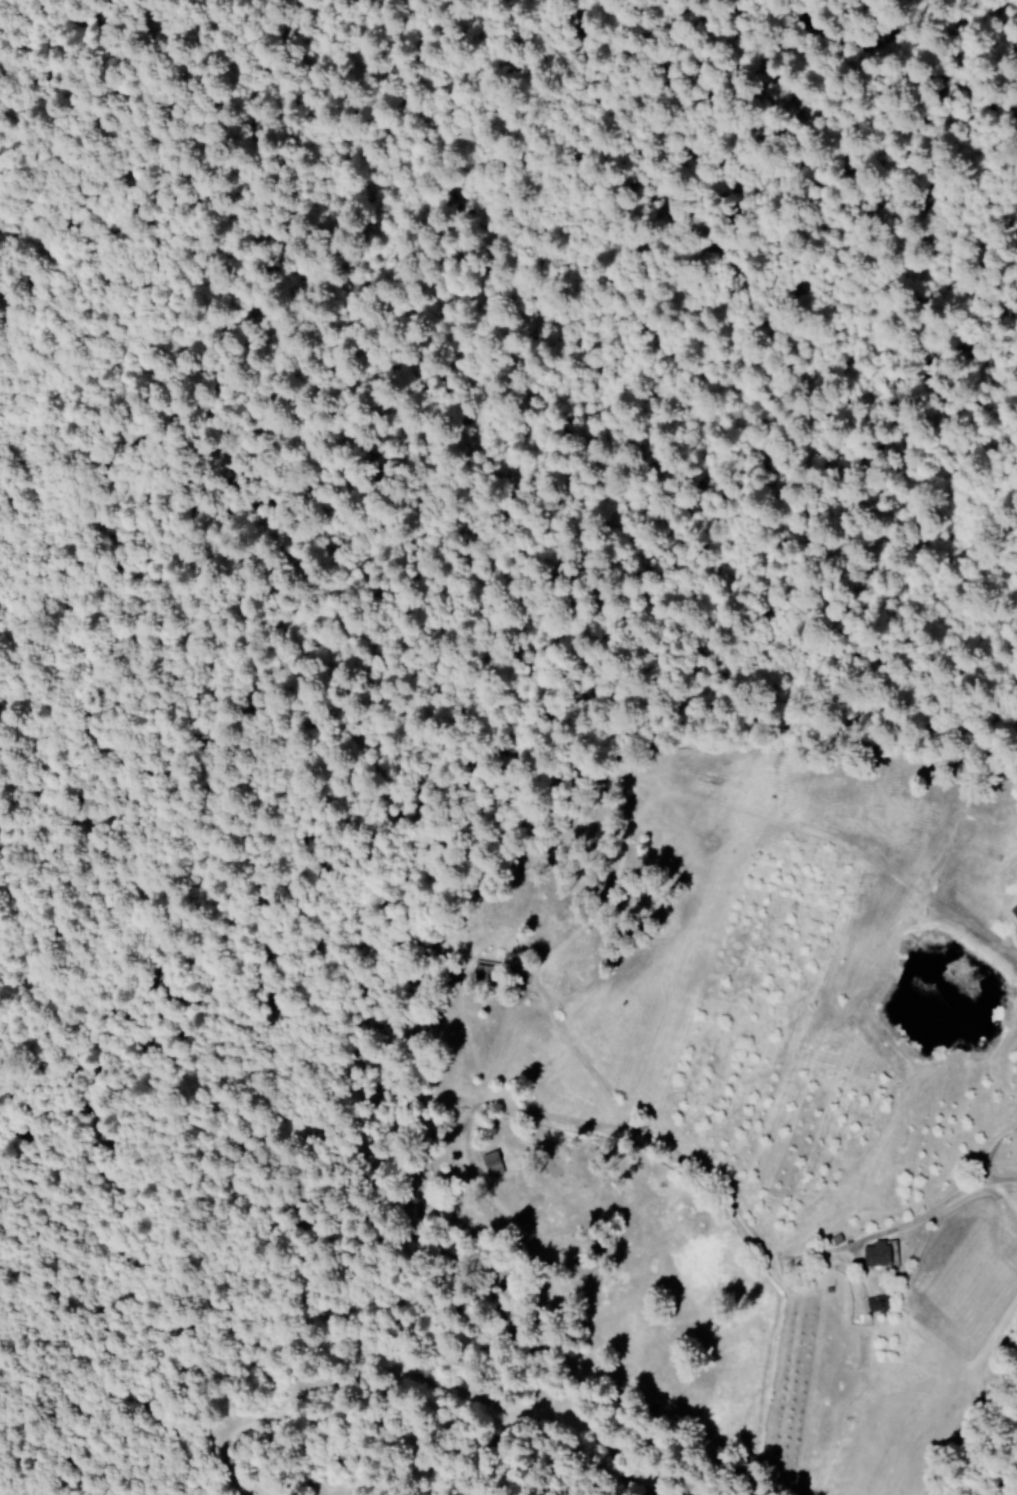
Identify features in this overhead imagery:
building: (1013, 910)
building: (488, 1163)
building: (873, 1254)
building: (875, 1304)

